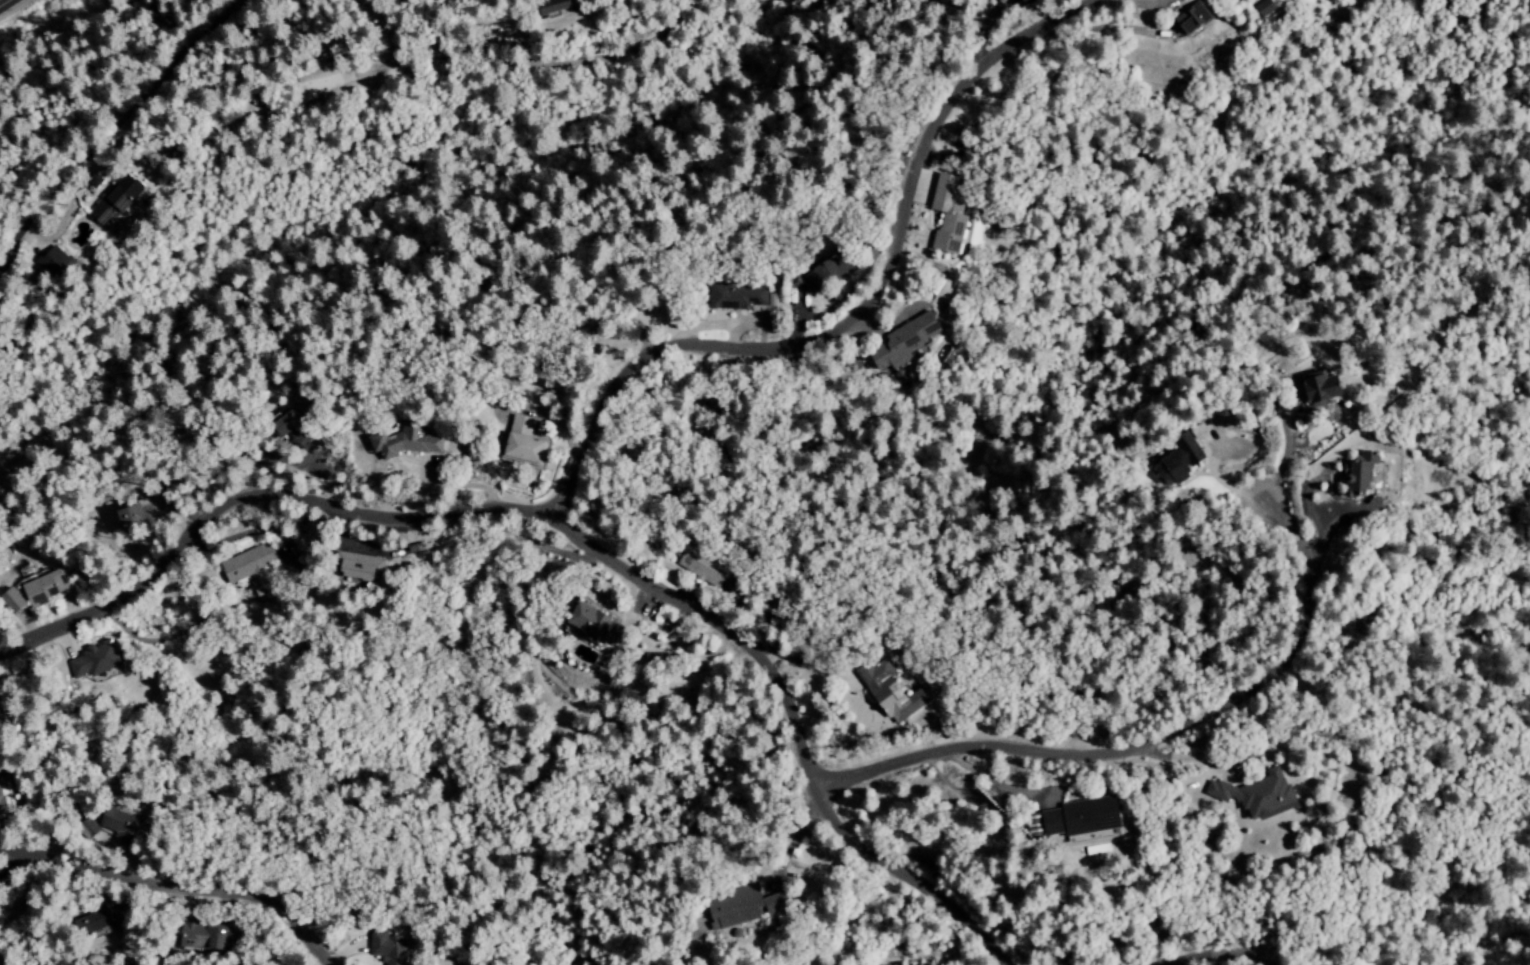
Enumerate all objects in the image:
road: (4, 3)
road: (1141, 4)
building: (565, 6)
building: (1262, 8)
building: (1185, 17)
road: (983, 26)
road: (1101, 31)
road: (570, 65)
road: (128, 110)
building: (119, 199)
building: (945, 215)
building: (58, 266)
building: (825, 274)
building: (736, 296)
road: (857, 316)
building: (901, 342)
building: (1313, 388)
building: (300, 429)
building: (397, 442)
building: (516, 443)
road: (1284, 446)
building: (1174, 461)
road: (1211, 469)
building: (1357, 475)
road: (1340, 510)
road: (1309, 513)
building: (134, 519)
road: (571, 535)
building: (246, 565)
building: (698, 566)
building: (352, 567)
building: (38, 591)
building: (591, 623)
building: (101, 661)
road: (792, 662)
building: (890, 693)
building: (9, 720)
road: (1150, 745)
road: (1183, 759)
road: (936, 775)
road: (992, 783)
building: (1254, 795)
building: (1070, 819)
building: (120, 824)
road: (792, 843)
road: (818, 863)
road: (174, 888)
building: (737, 907)
building: (92, 921)
building: (205, 937)
building: (390, 947)
road: (1217, 954)

